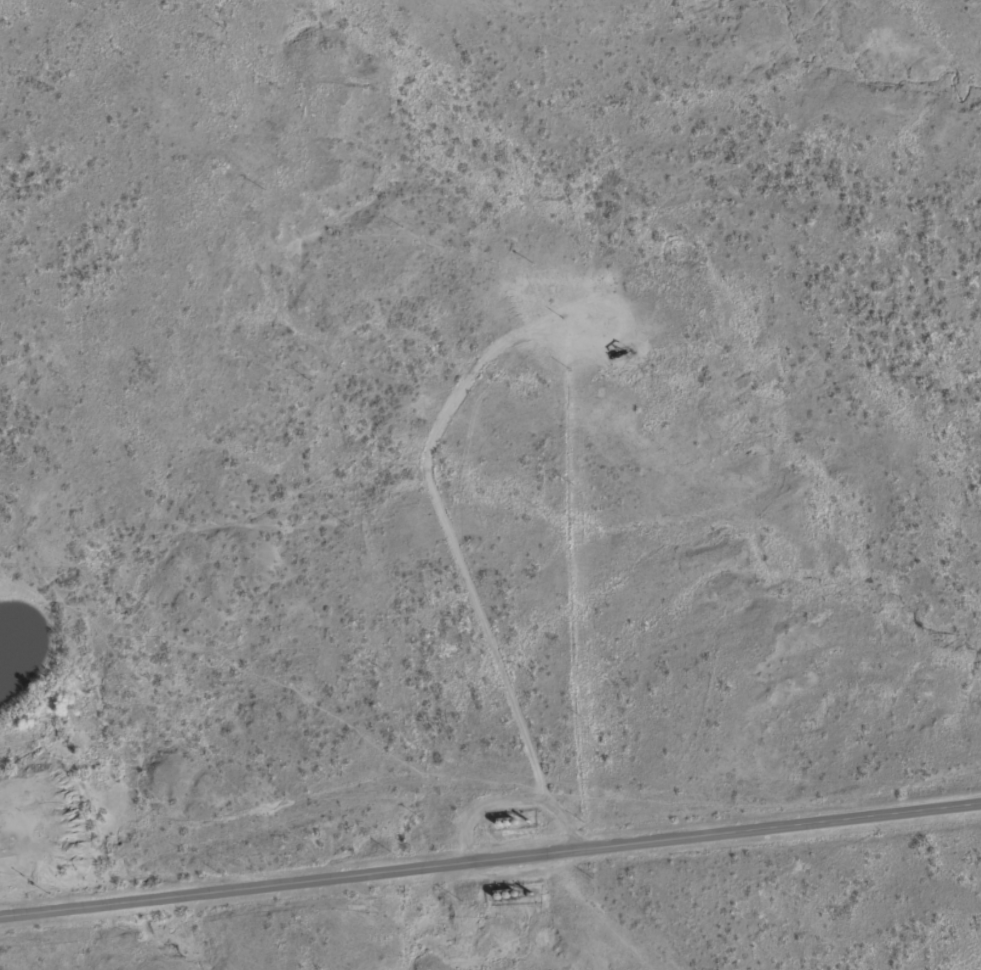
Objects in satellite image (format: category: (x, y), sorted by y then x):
road: (490, 859)

